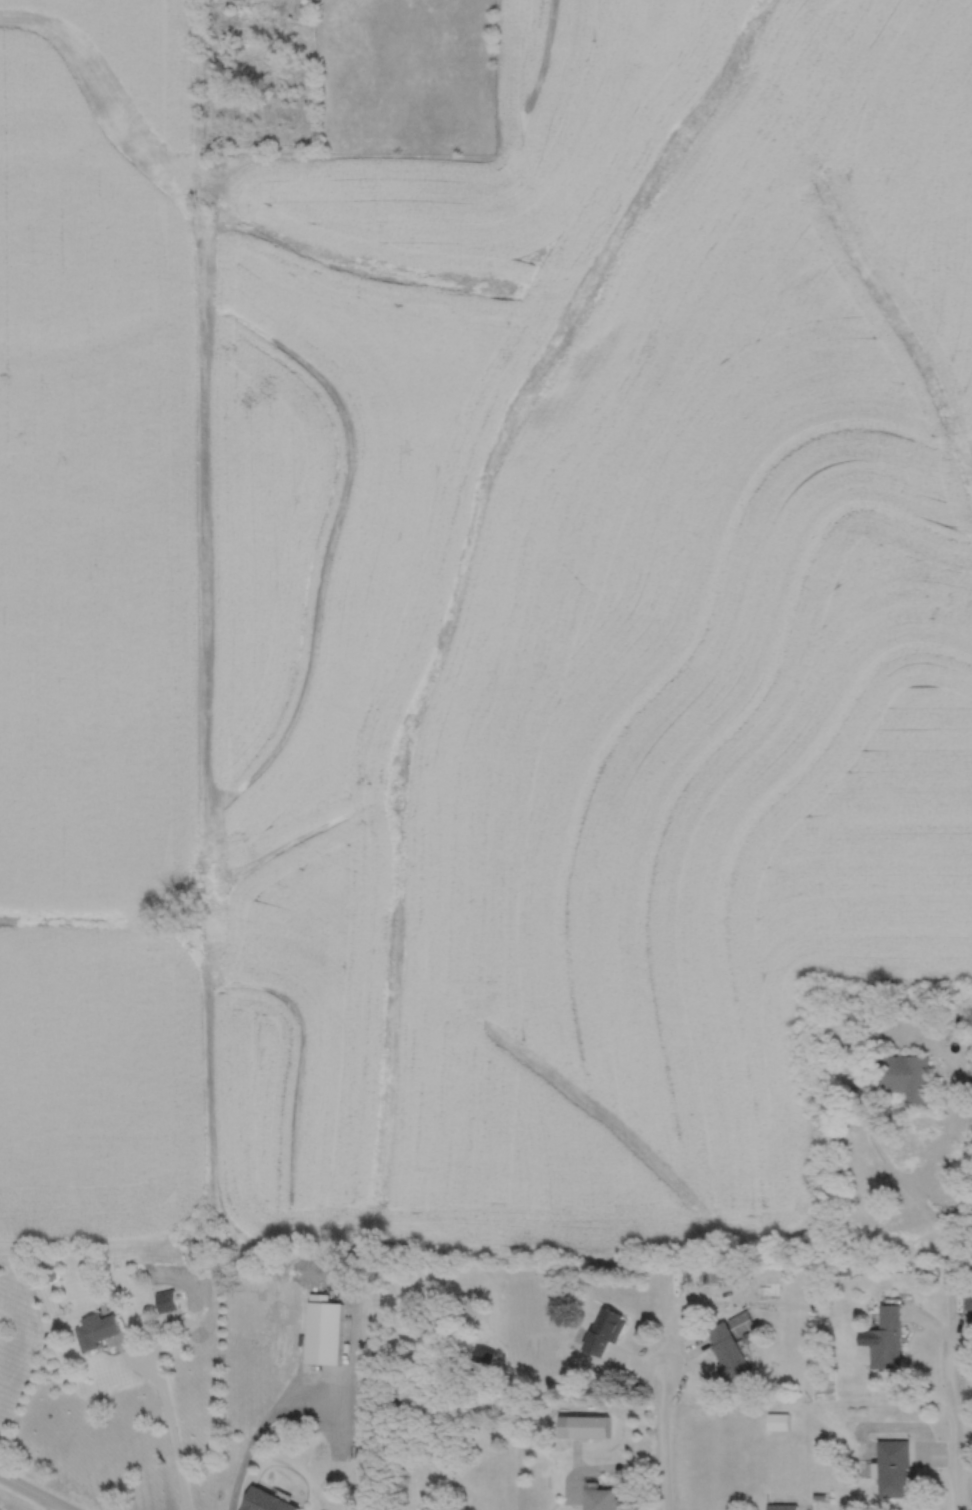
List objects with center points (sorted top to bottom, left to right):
crop: (476, 629)
building: (907, 1077)
road: (926, 1209)
building: (967, 1298)
building: (165, 1301)
building: (96, 1331)
building: (322, 1332)
building: (605, 1333)
building: (886, 1340)
building: (730, 1352)
building: (778, 1423)
road: (955, 1430)
road: (172, 1432)
road: (255, 1433)
road: (664, 1439)
building: (892, 1469)
road: (32, 1493)
building: (604, 1500)
building: (266, 1502)
building: (781, 1507)

